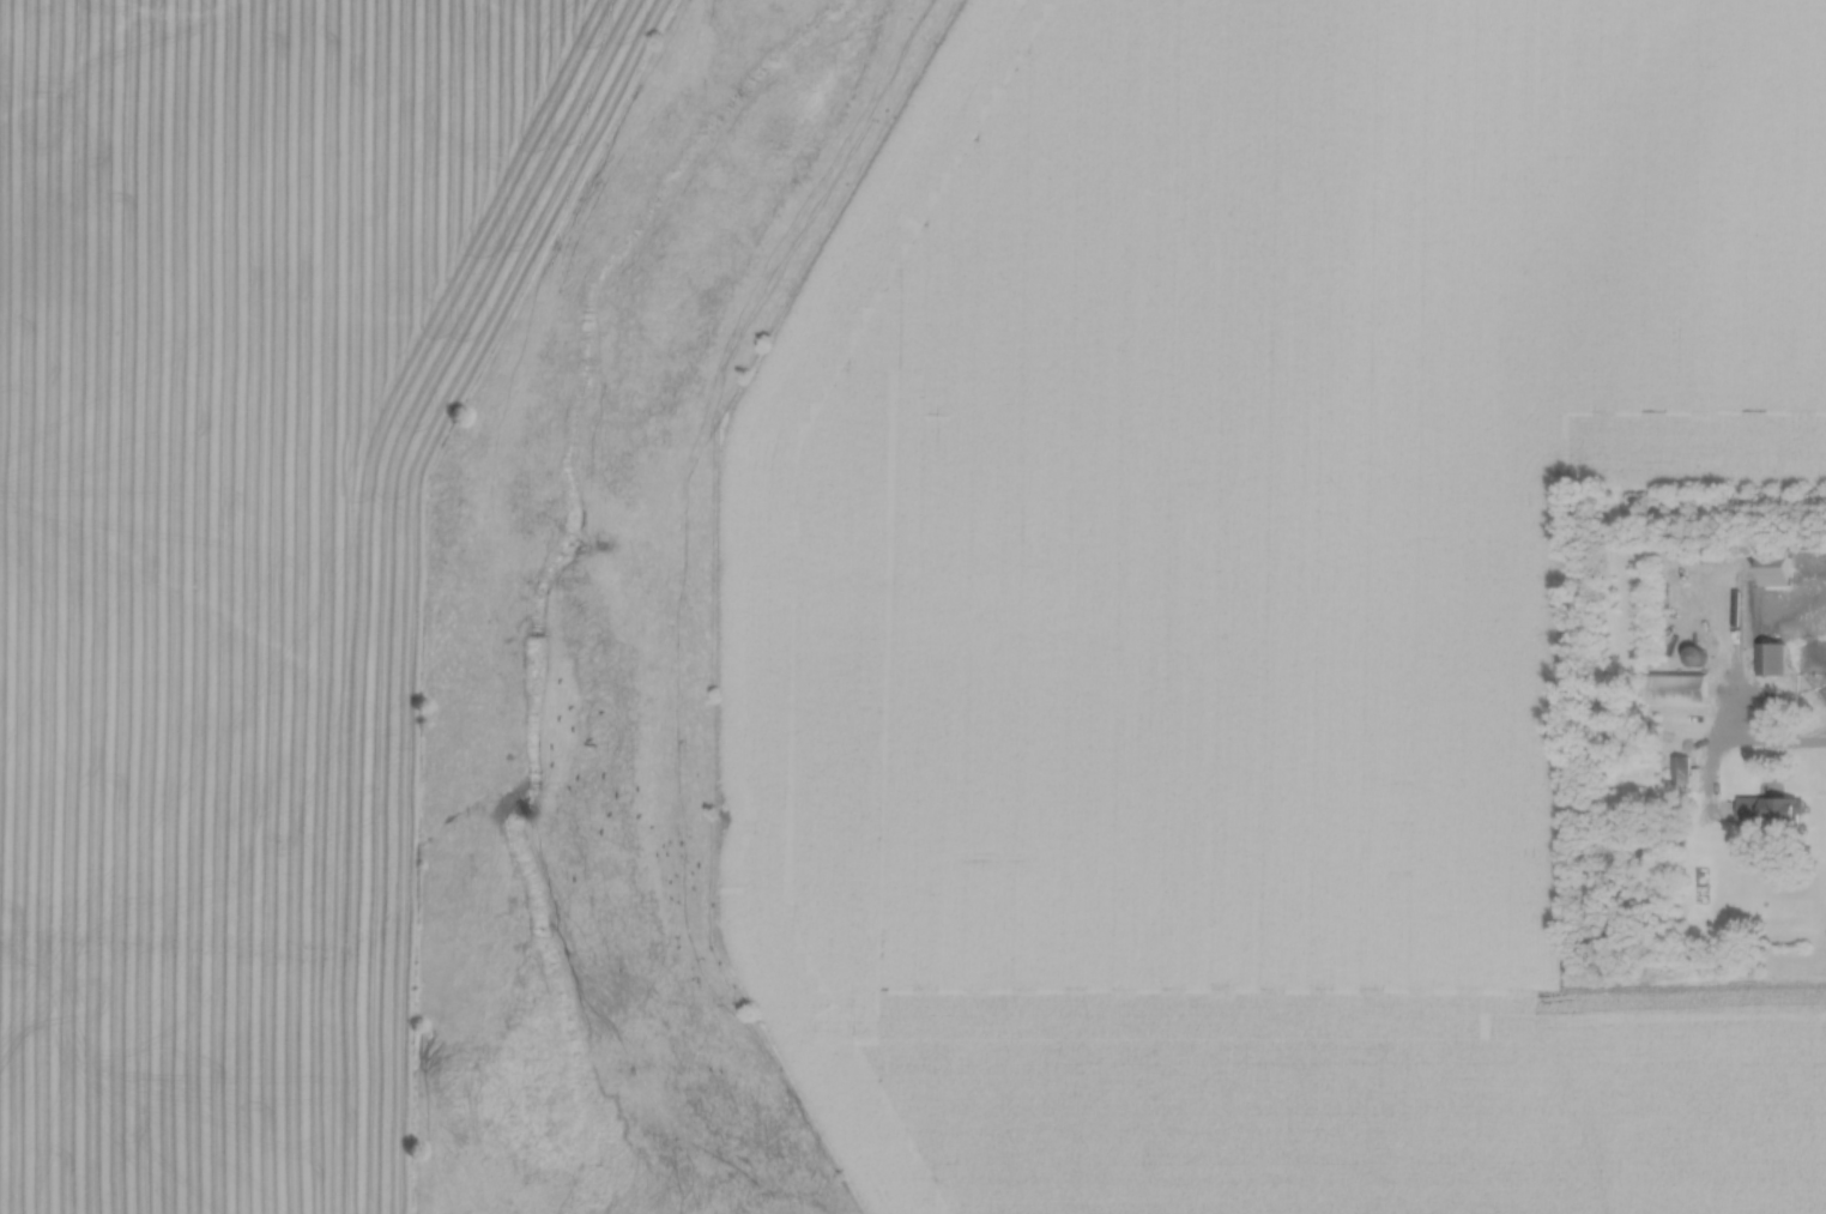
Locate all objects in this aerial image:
building: (1771, 561)
building: (1693, 651)
building: (1771, 653)
building: (1674, 683)
road: (1800, 745)
building: (1677, 765)
building: (1780, 805)
building: (1711, 883)

